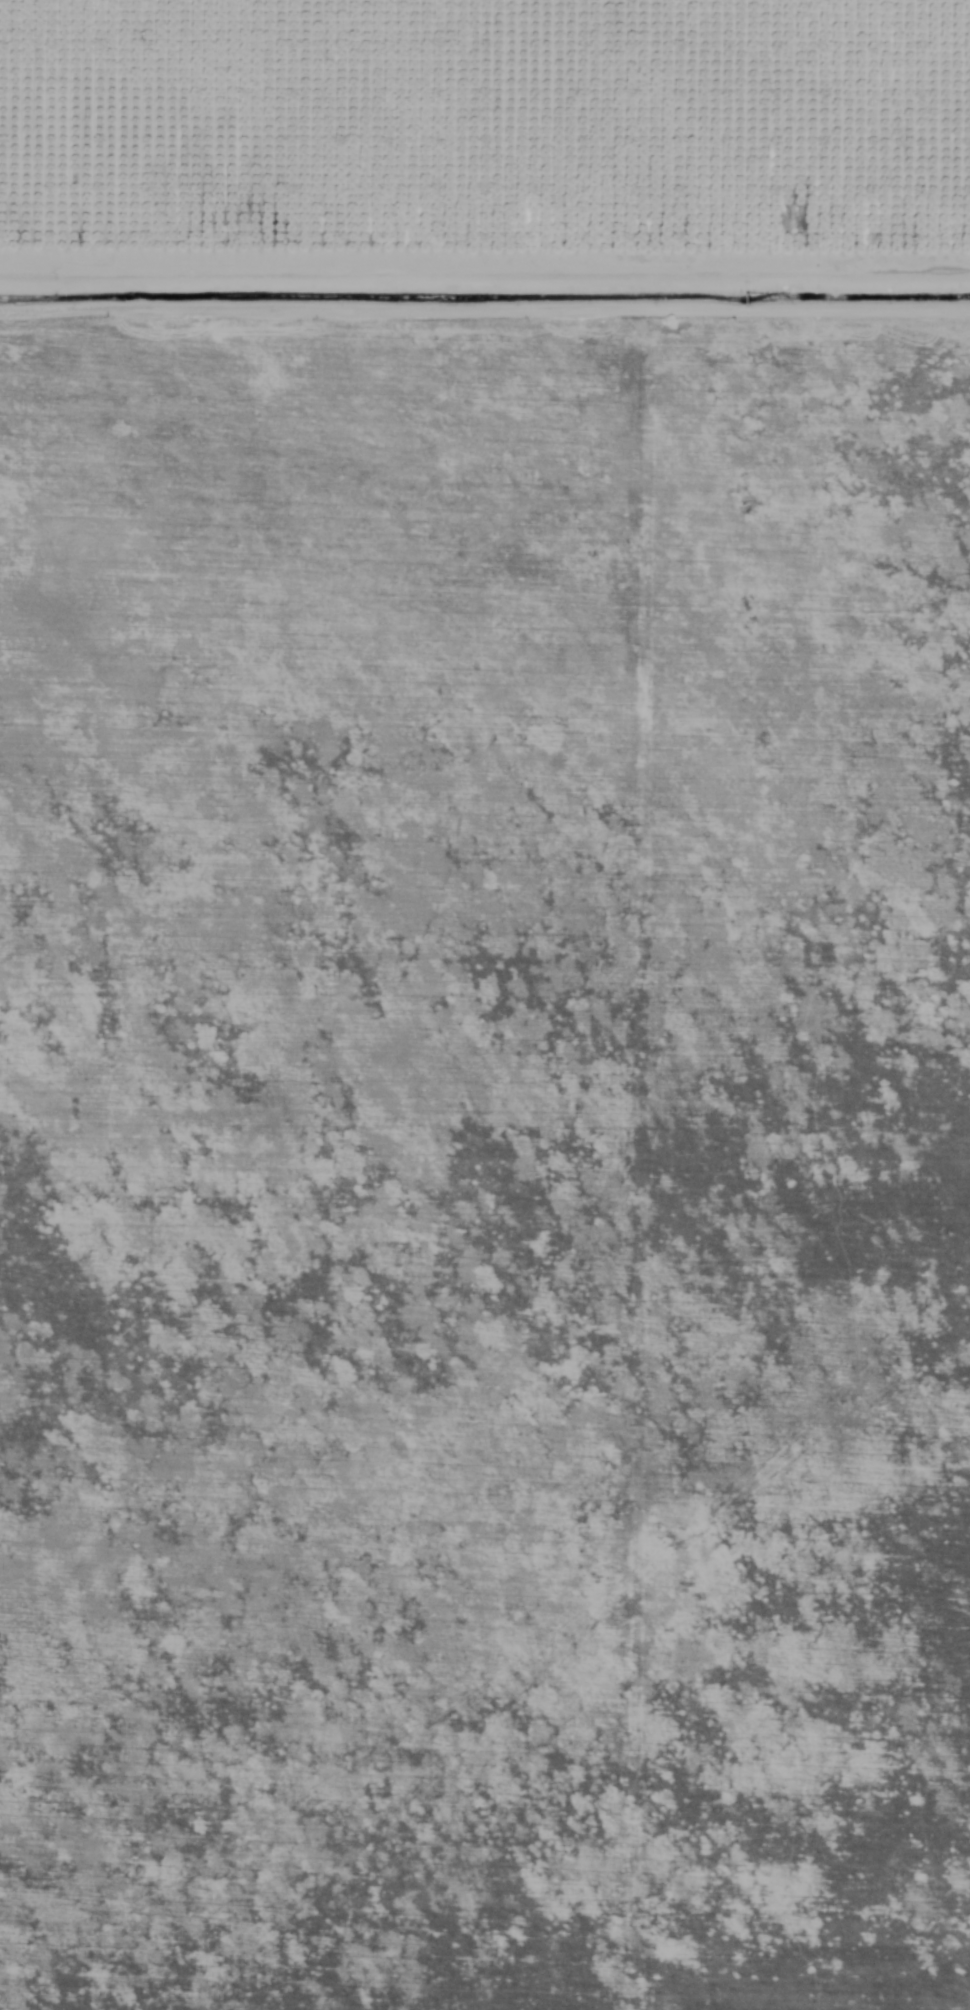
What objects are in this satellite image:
crop: (479, 854)
crop: (474, 1569)
crop: (485, 1792)
crop: (491, 1955)

